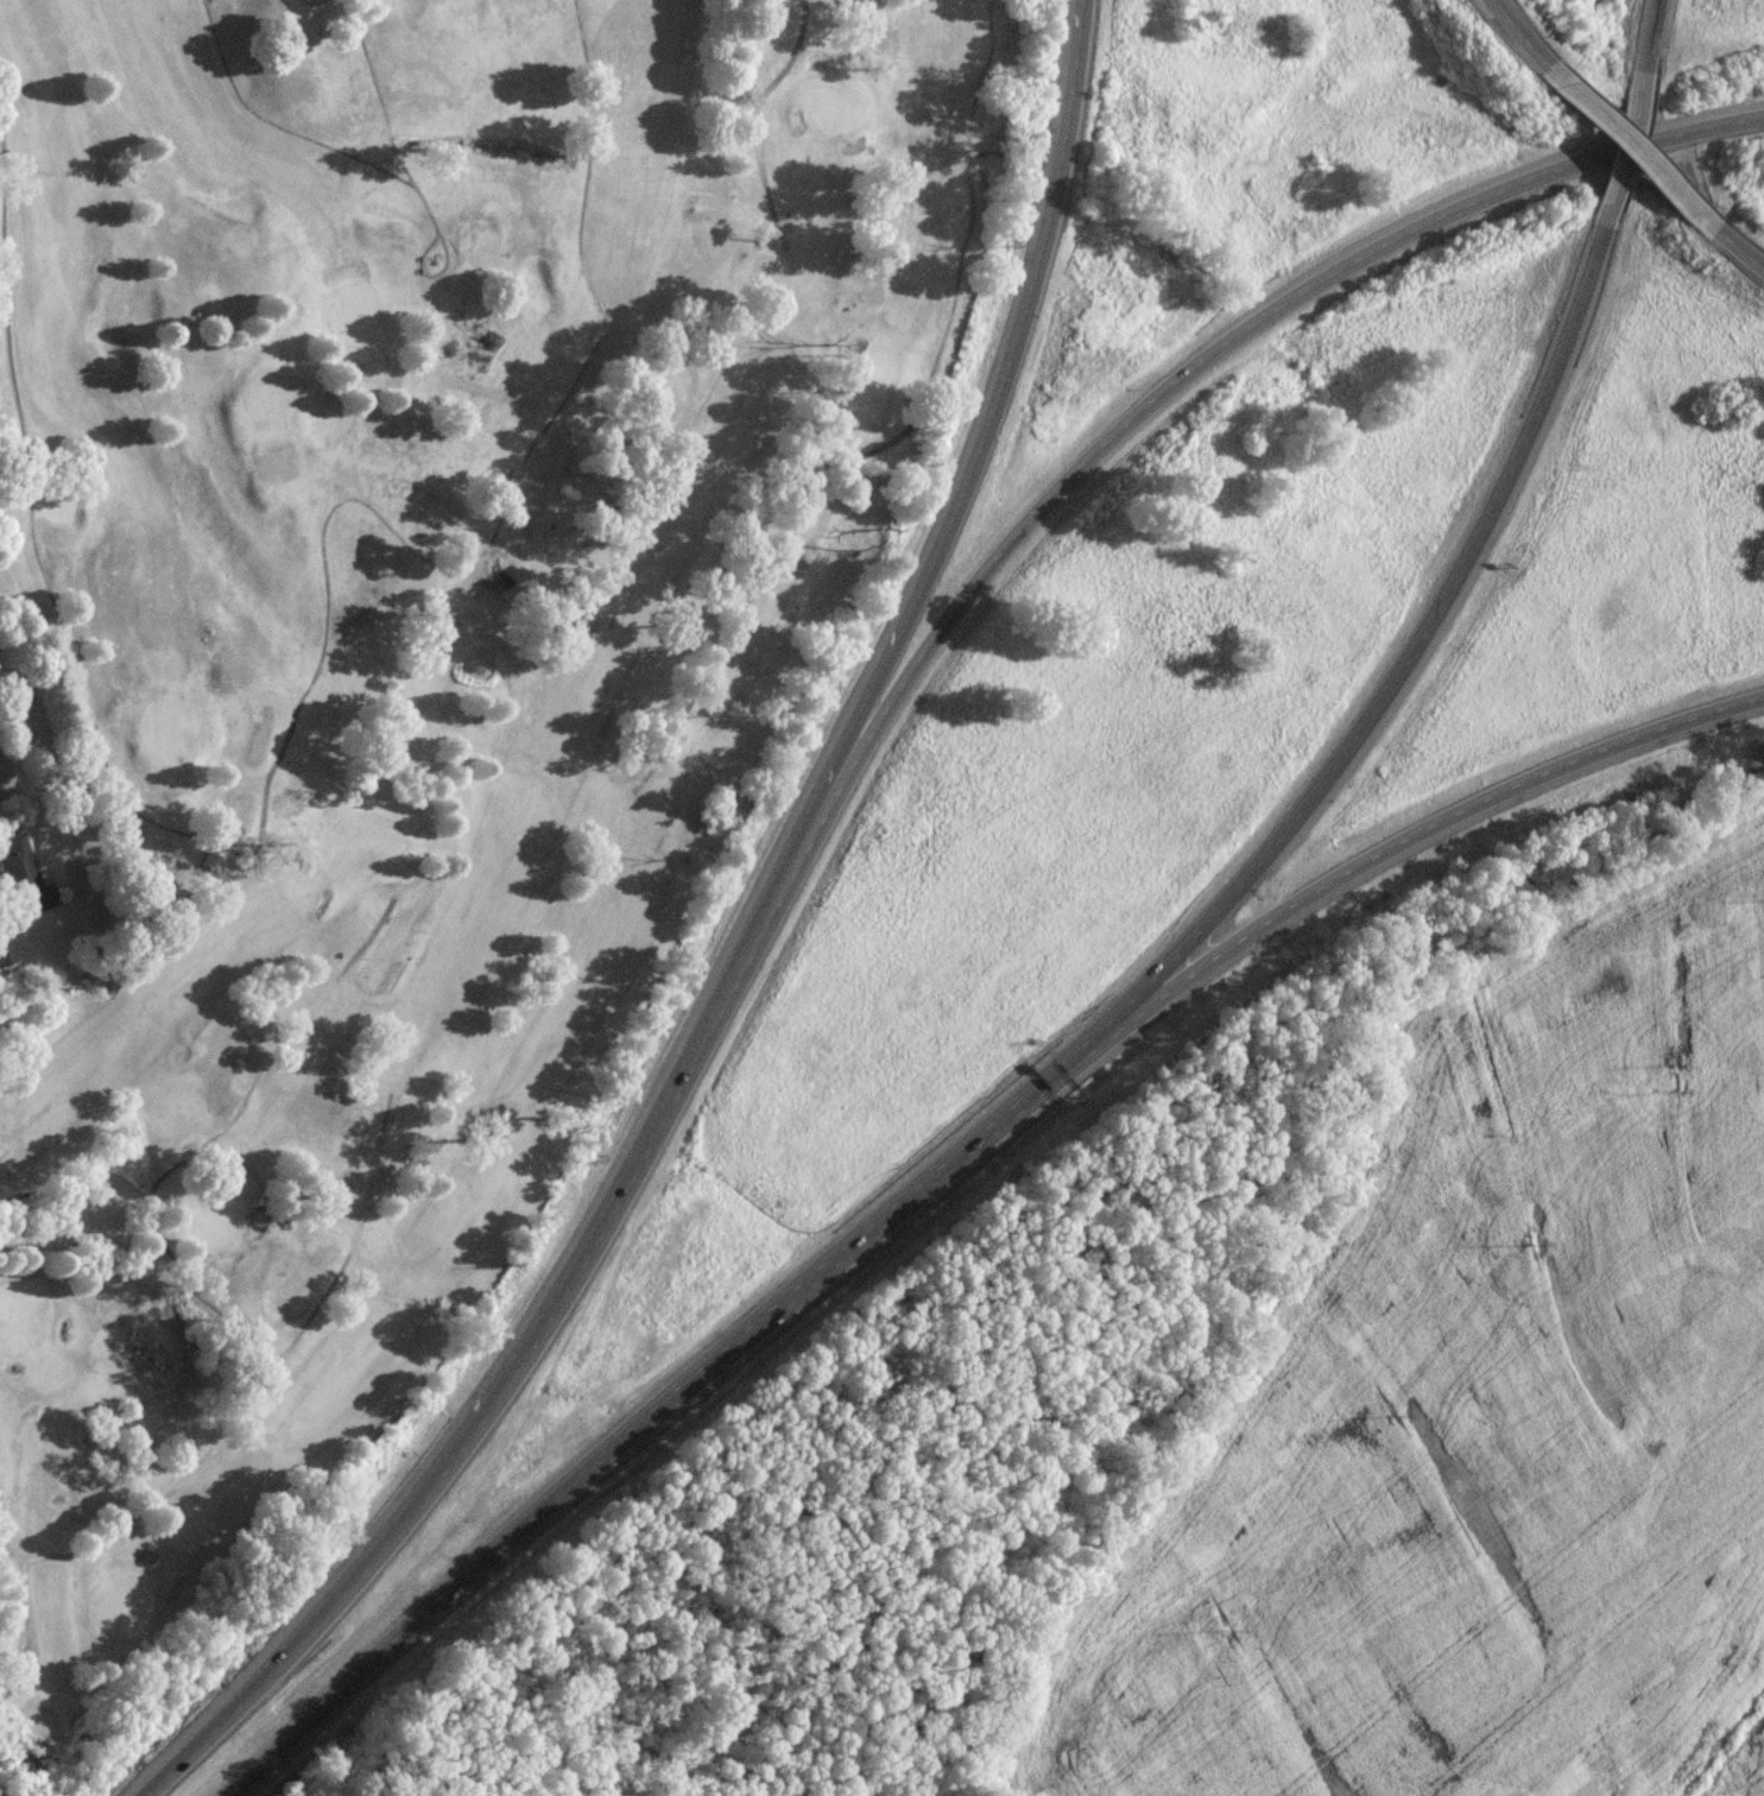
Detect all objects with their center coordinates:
road: (1652, 38)
road: (1518, 44)
road: (375, 95)
road: (752, 121)
road: (1629, 144)
road: (328, 153)
road: (1621, 156)
road: (444, 247)
road: (1728, 248)
park: (352, 317)
road: (938, 350)
road: (12, 361)
road: (1208, 365)
park: (861, 388)
road: (984, 424)
road: (358, 506)
road: (1415, 654)
road: (685, 716)
park: (469, 770)
road: (1422, 837)
road: (25, 942)
road: (226, 1124)
road: (530, 1347)
road: (670, 1410)
road: (228, 1434)
road: (13, 1552)

